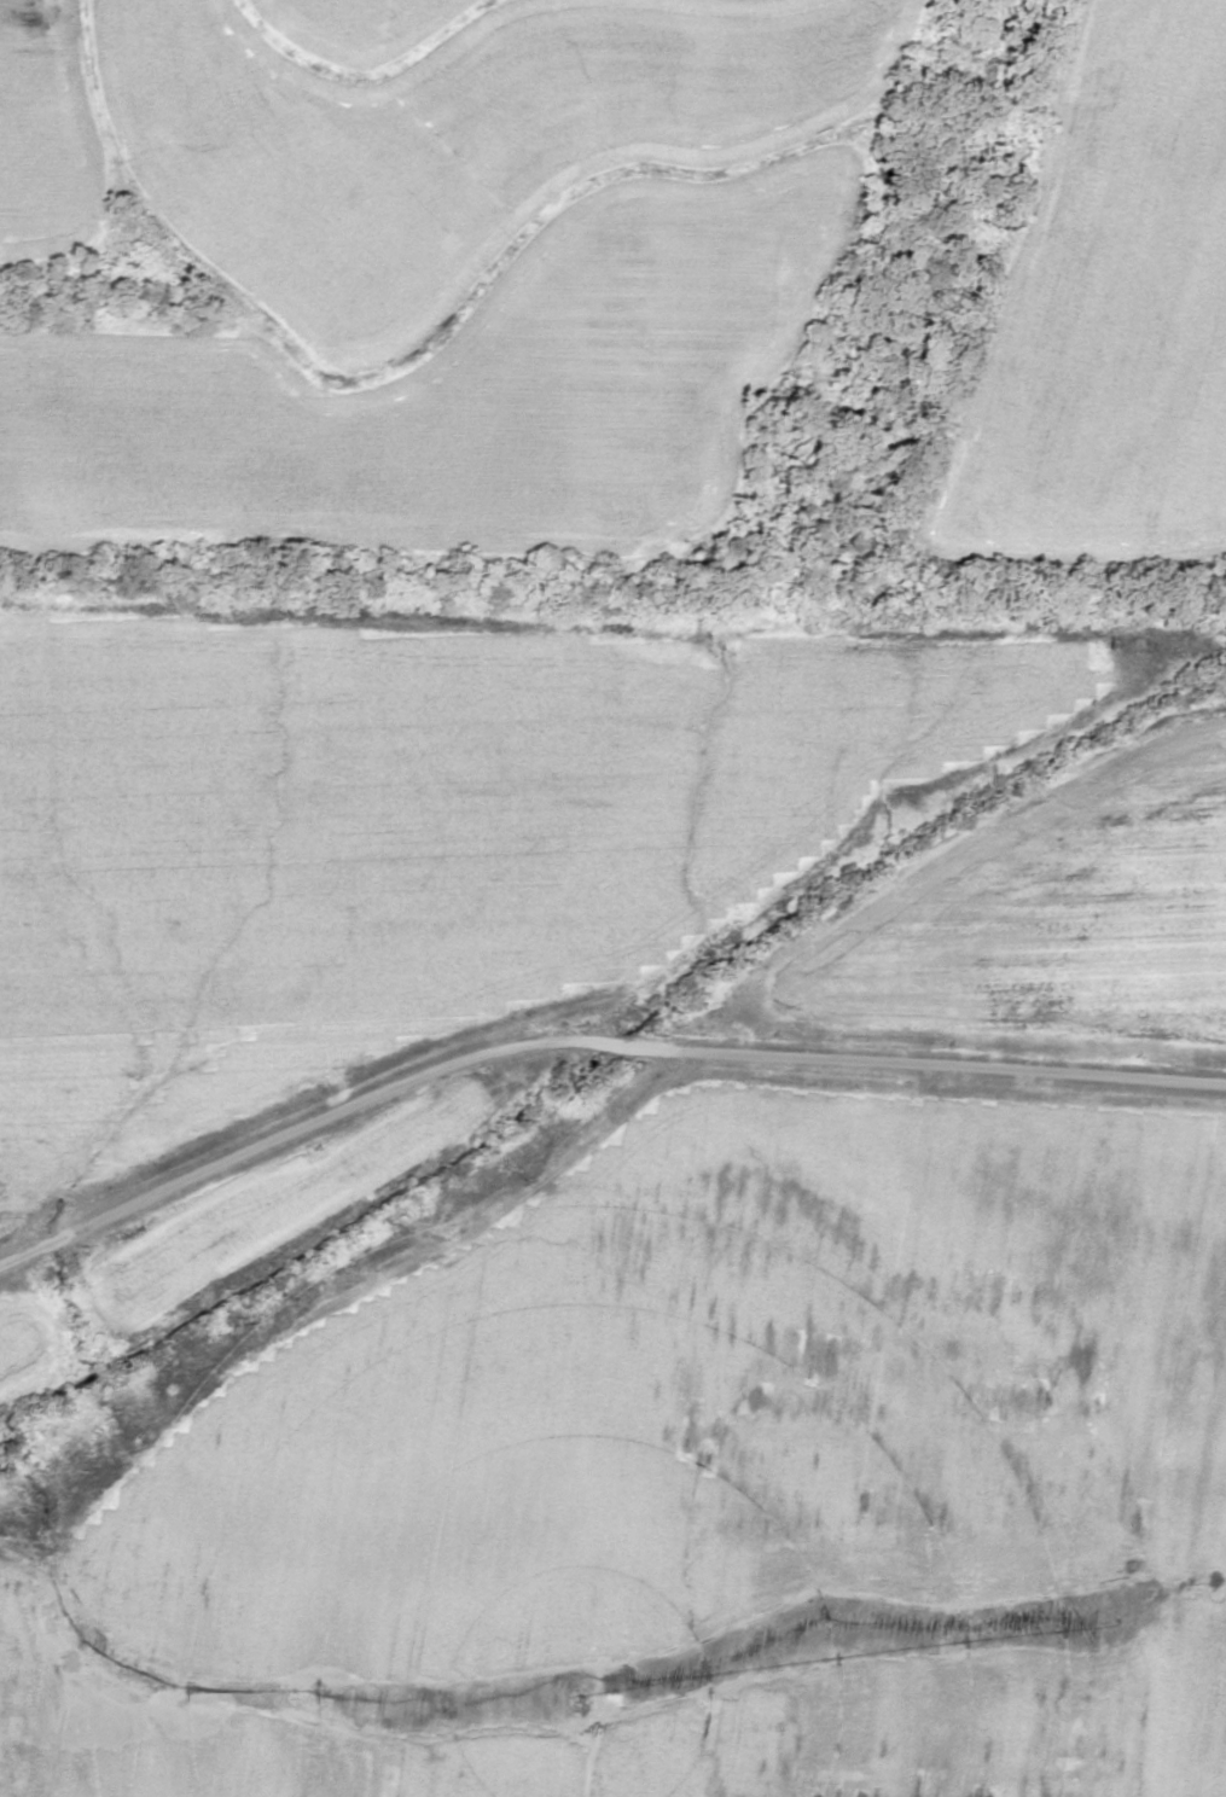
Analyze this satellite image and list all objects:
road: (591, 1033)

